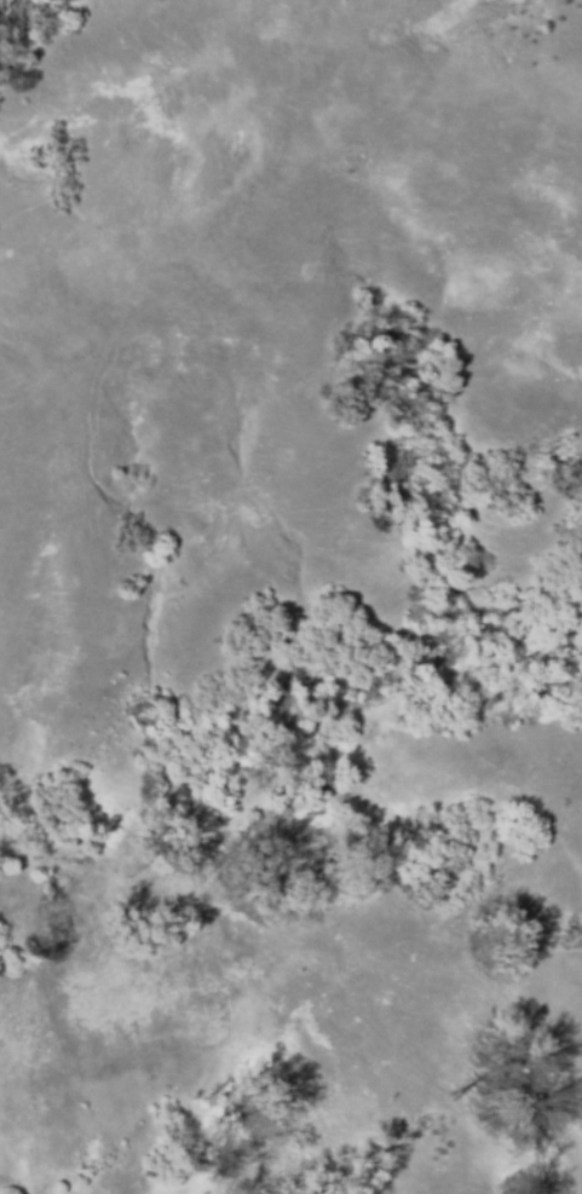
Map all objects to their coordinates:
road: (290, 752)
road: (296, 906)
building: (60, 921)

